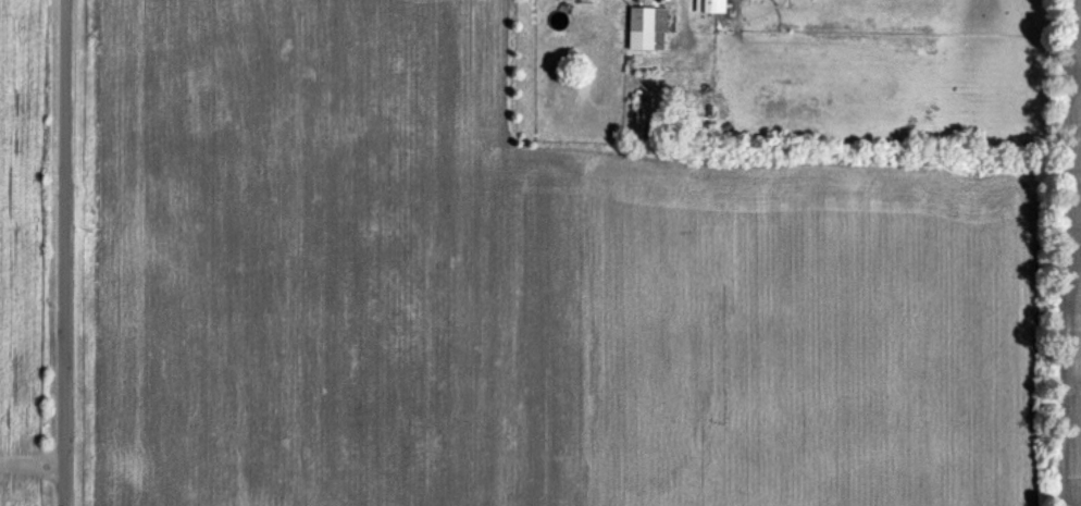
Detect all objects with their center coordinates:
road: (685, 12)
building: (645, 29)
road: (66, 252)
road: (33, 465)

